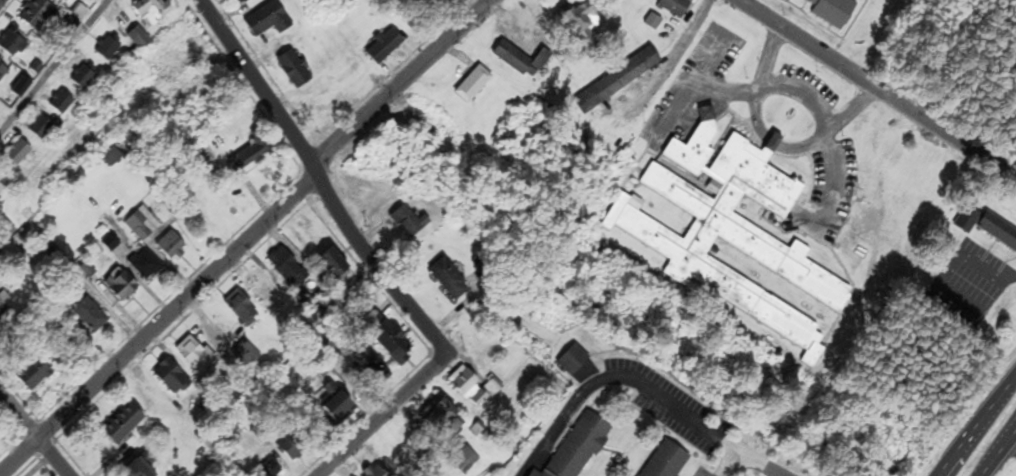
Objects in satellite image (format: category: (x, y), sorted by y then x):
building: (677, 7)
building: (150, 11)
building: (834, 12)
building: (37, 14)
building: (584, 19)
building: (269, 20)
building: (137, 37)
building: (14, 44)
building: (385, 46)
building: (109, 48)
building: (175, 54)
building: (521, 60)
road: (53, 65)
road: (679, 66)
building: (295, 70)
building: (3, 72)
building: (84, 77)
building: (621, 78)
road: (398, 80)
building: (474, 85)
road: (879, 87)
building: (22, 88)
building: (179, 88)
building: (62, 103)
building: (329, 105)
building: (41, 128)
road: (826, 136)
road: (770, 143)
building: (252, 152)
building: (20, 153)
building: (113, 158)
road: (318, 181)
building: (2, 189)
building: (968, 219)
building: (408, 223)
building: (143, 224)
building: (731, 230)
building: (7, 231)
building: (998, 231)
building: (172, 246)
building: (337, 265)
building: (146, 266)
building: (287, 267)
building: (449, 280)
building: (123, 286)
building: (263, 286)
building: (3, 304)
building: (239, 305)
building: (89, 314)
road: (157, 326)
building: (220, 332)
building: (394, 343)
building: (245, 350)
building: (195, 356)
building: (34, 374)
road: (615, 376)
building: (172, 377)
building: (474, 387)
building: (337, 403)
building: (443, 416)
road: (379, 418)
building: (125, 424)
road: (978, 427)
road: (33, 436)
building: (208, 437)
building: (293, 445)
building: (580, 447)
road: (1002, 458)
building: (671, 462)
road: (757, 462)
road: (726, 464)
building: (139, 470)
building: (270, 470)
building: (535, 474)

